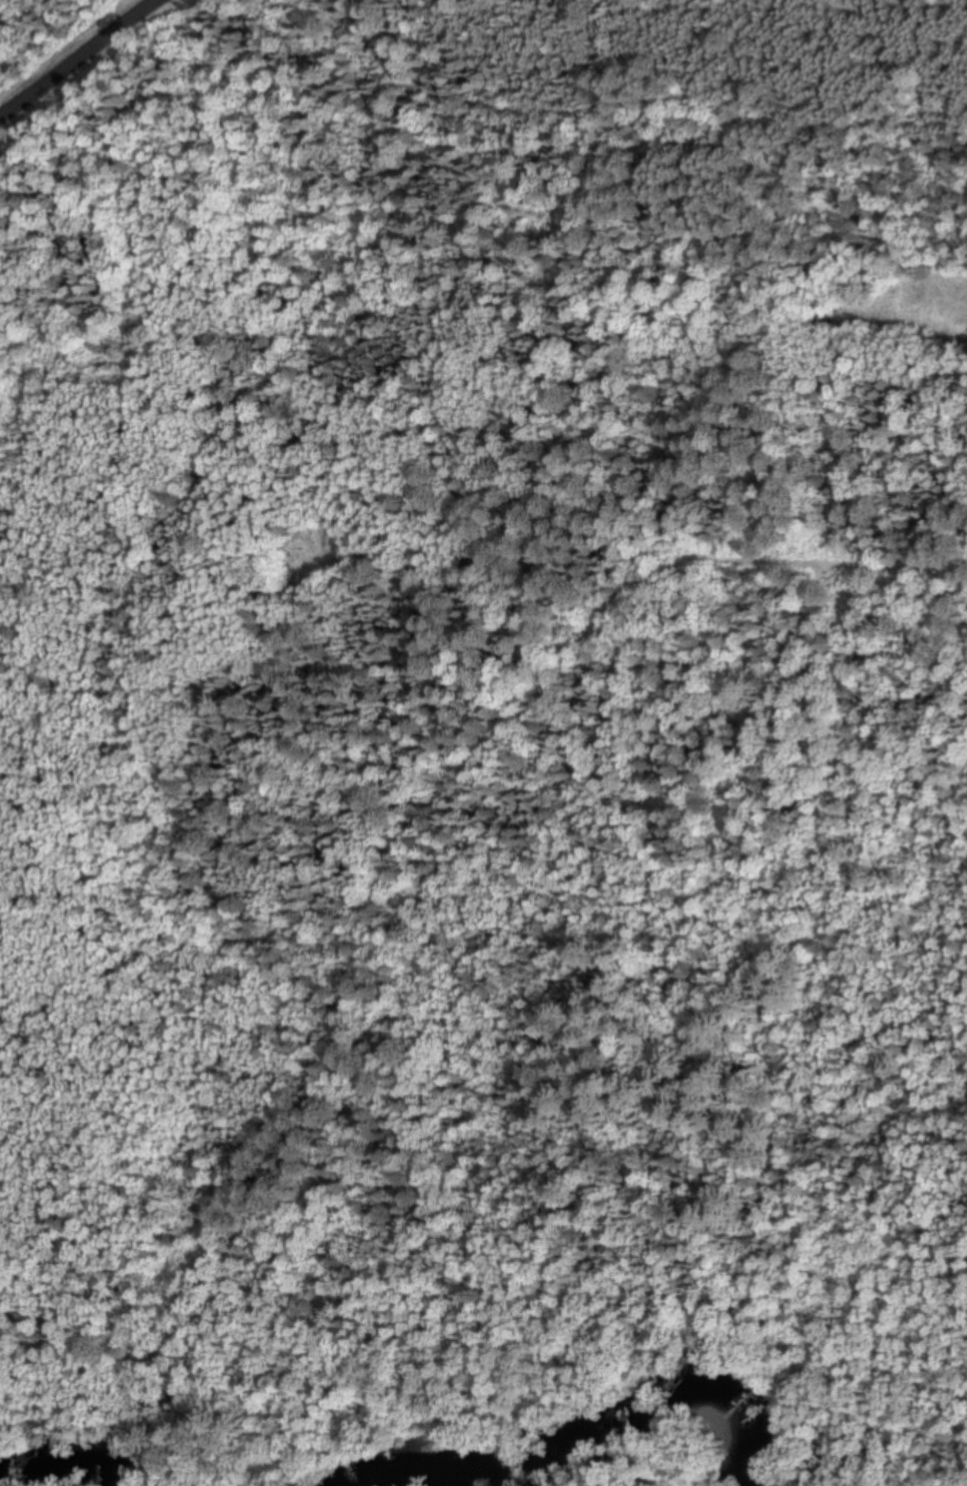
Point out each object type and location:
road: (84, 62)
river: (592, 1441)
river: (83, 1470)

